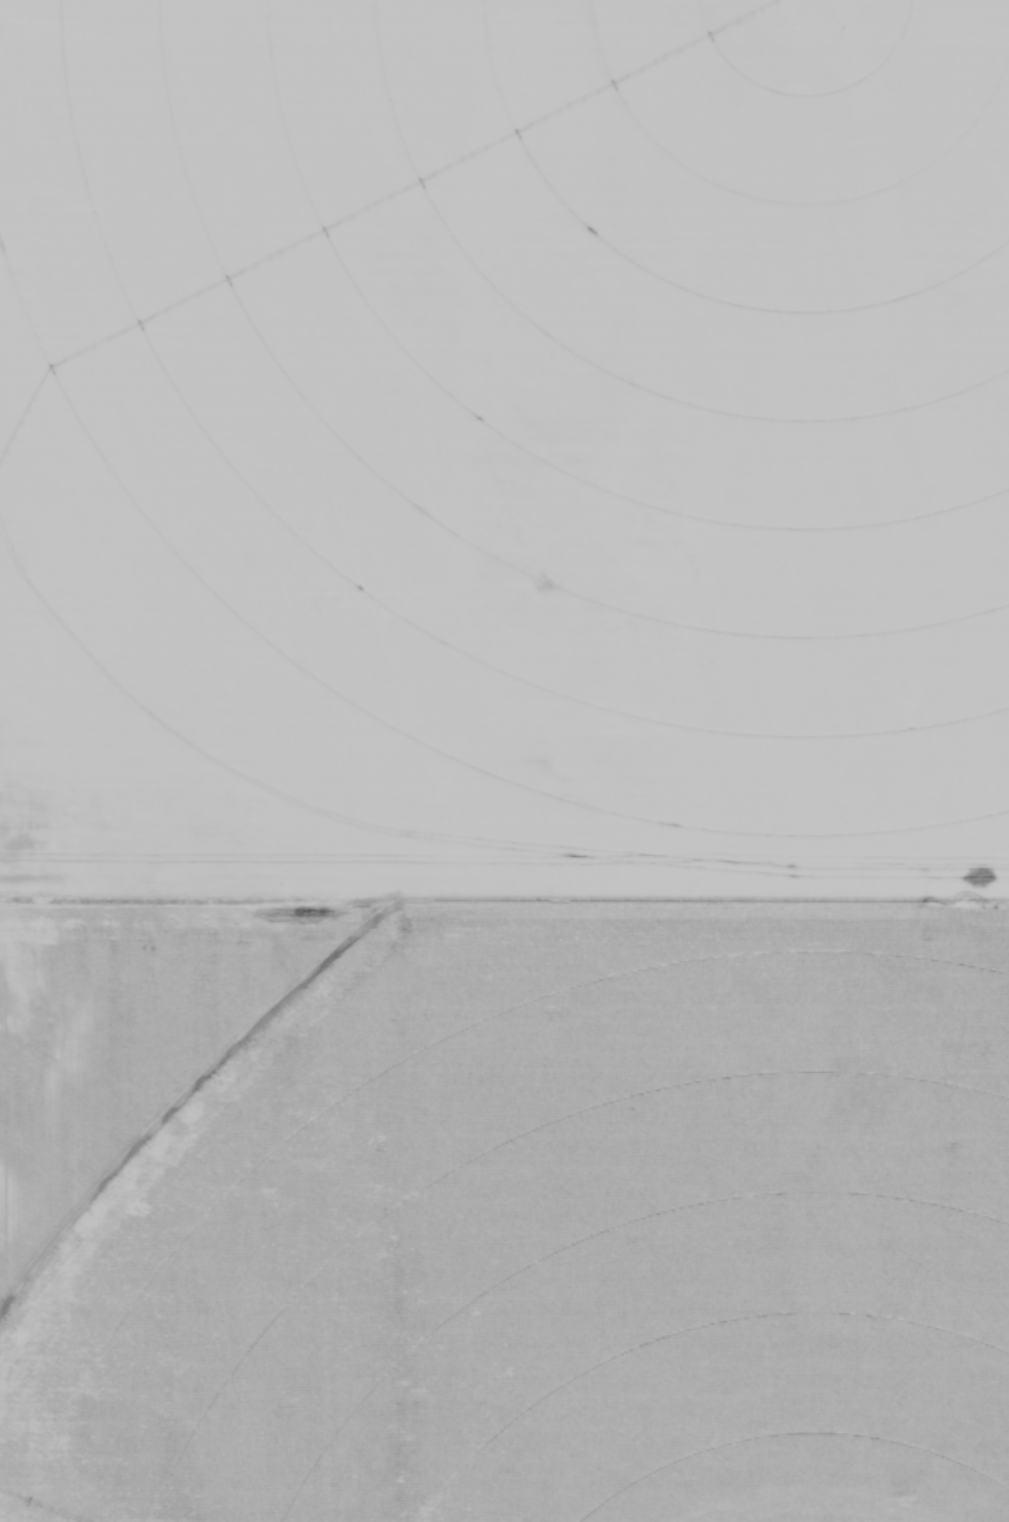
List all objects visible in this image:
crop: (504, 761)

